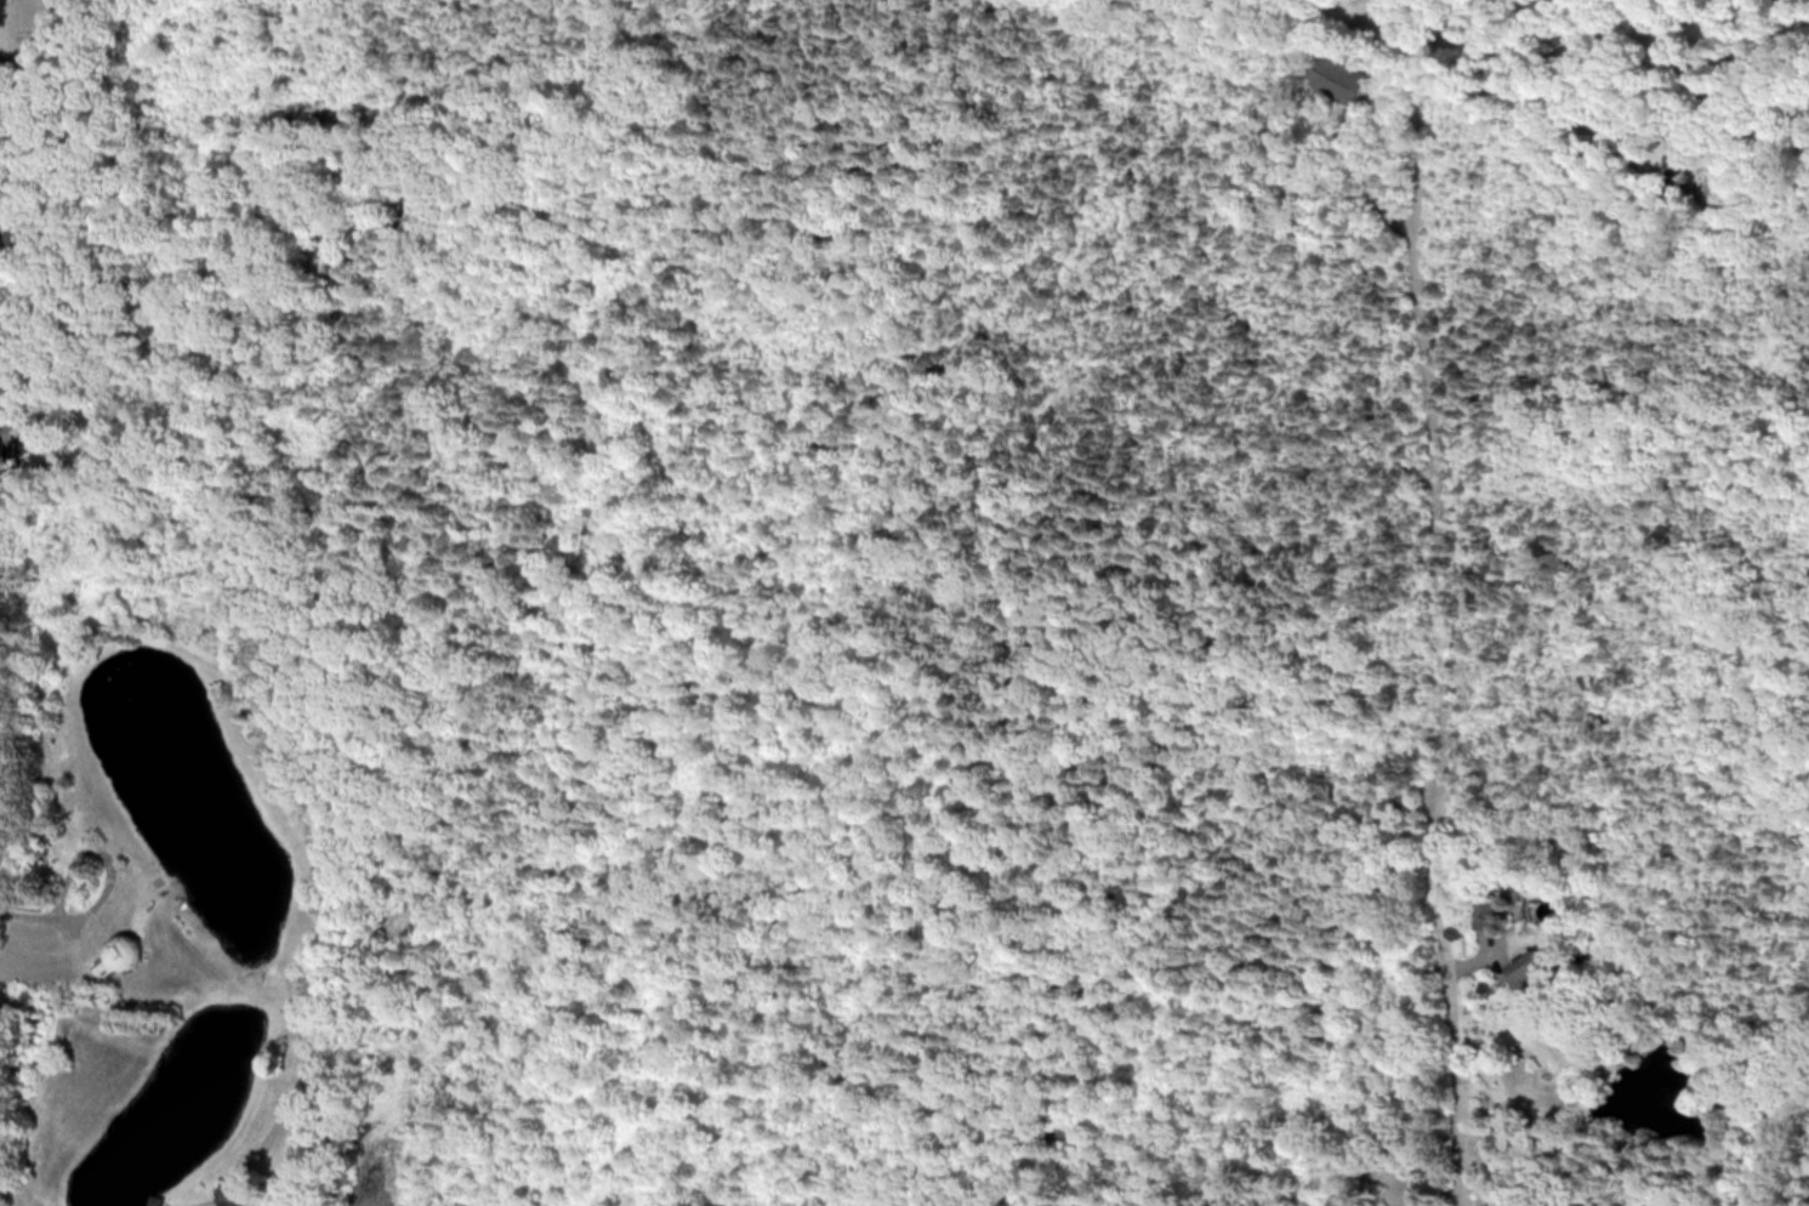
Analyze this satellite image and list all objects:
building: (5, 11)
building: (1342, 75)
building: (23, 231)
building: (4, 438)
road: (1441, 648)
building: (1514, 888)
road: (44, 909)
building: (1487, 915)
building: (119, 954)
building: (1534, 973)
building: (235, 1195)

